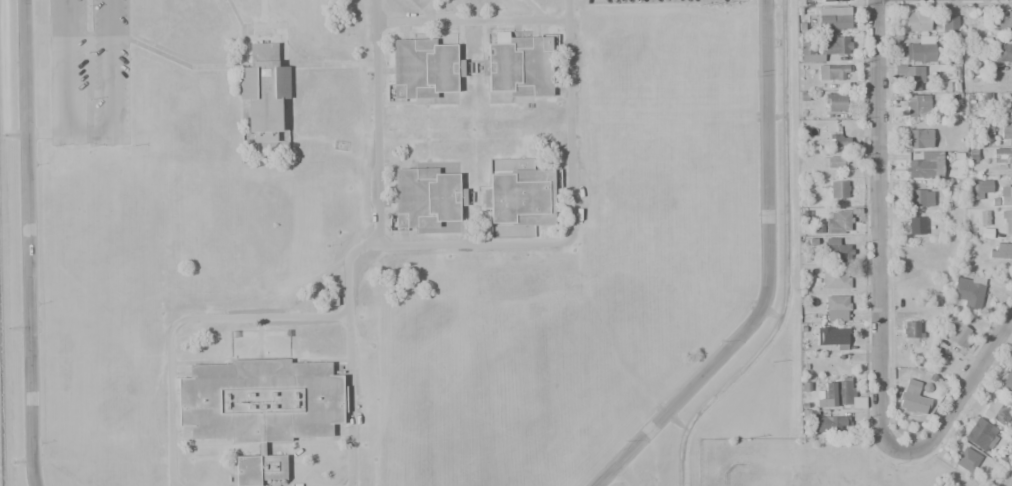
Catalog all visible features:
building: (834, 1)
building: (422, 2)
road: (472, 17)
building: (833, 18)
building: (1002, 20)
building: (917, 21)
building: (948, 23)
building: (822, 48)
building: (922, 50)
building: (1003, 53)
building: (518, 66)
building: (423, 68)
building: (832, 71)
building: (909, 76)
building: (1004, 79)
building: (263, 91)
building: (835, 102)
building: (917, 107)
road: (376, 122)
building: (984, 129)
building: (1006, 134)
road: (88, 138)
building: (919, 138)
building: (839, 140)
building: (1001, 155)
building: (833, 162)
building: (916, 169)
building: (979, 188)
building: (837, 189)
building: (1005, 195)
building: (425, 197)
building: (520, 197)
building: (919, 197)
building: (983, 218)
building: (837, 222)
building: (1007, 222)
building: (915, 225)
road: (877, 232)
road: (25, 243)
road: (461, 243)
building: (1000, 250)
building: (836, 251)
road: (766, 276)
building: (836, 279)
building: (968, 290)
building: (836, 308)
road: (179, 320)
building: (911, 328)
building: (959, 333)
building: (832, 338)
building: (1006, 383)
road: (963, 389)
building: (839, 394)
building: (913, 397)
building: (260, 408)
building: (997, 412)
building: (827, 423)
building: (979, 433)
building: (967, 460)
park: (815, 464)

